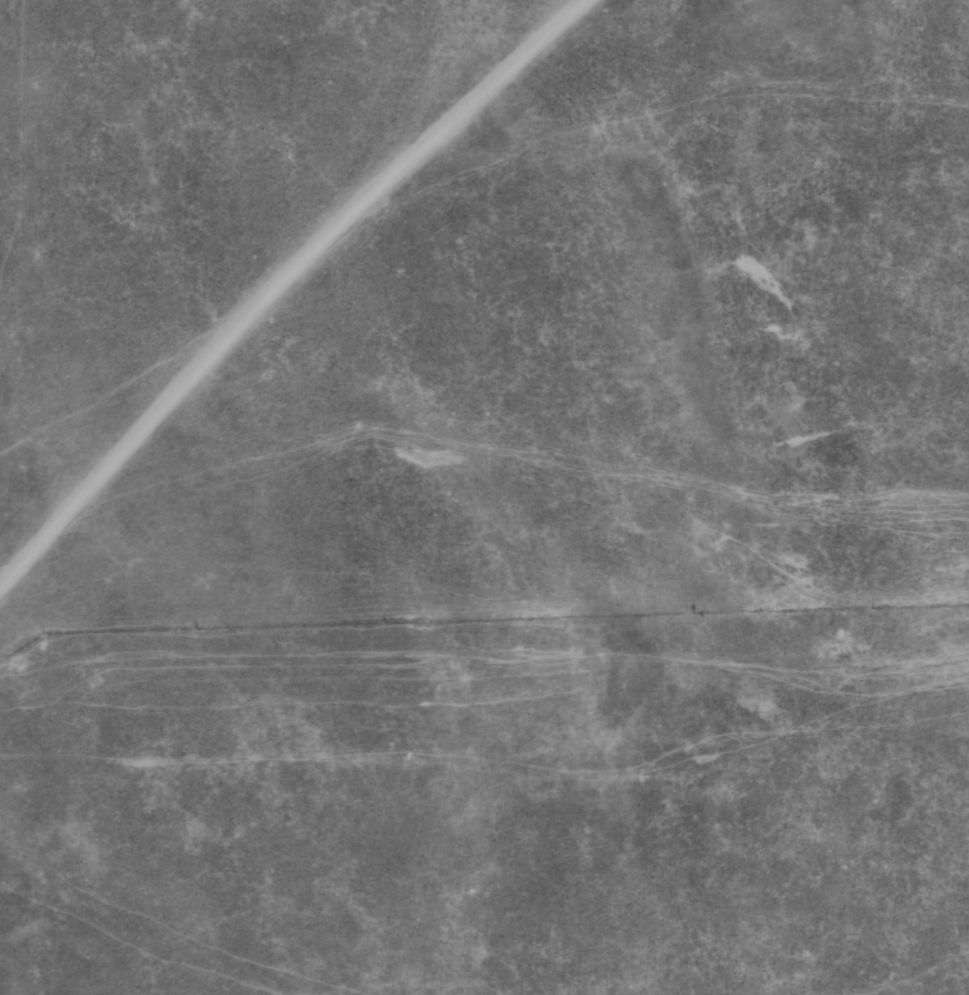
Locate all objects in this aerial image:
road: (280, 282)

